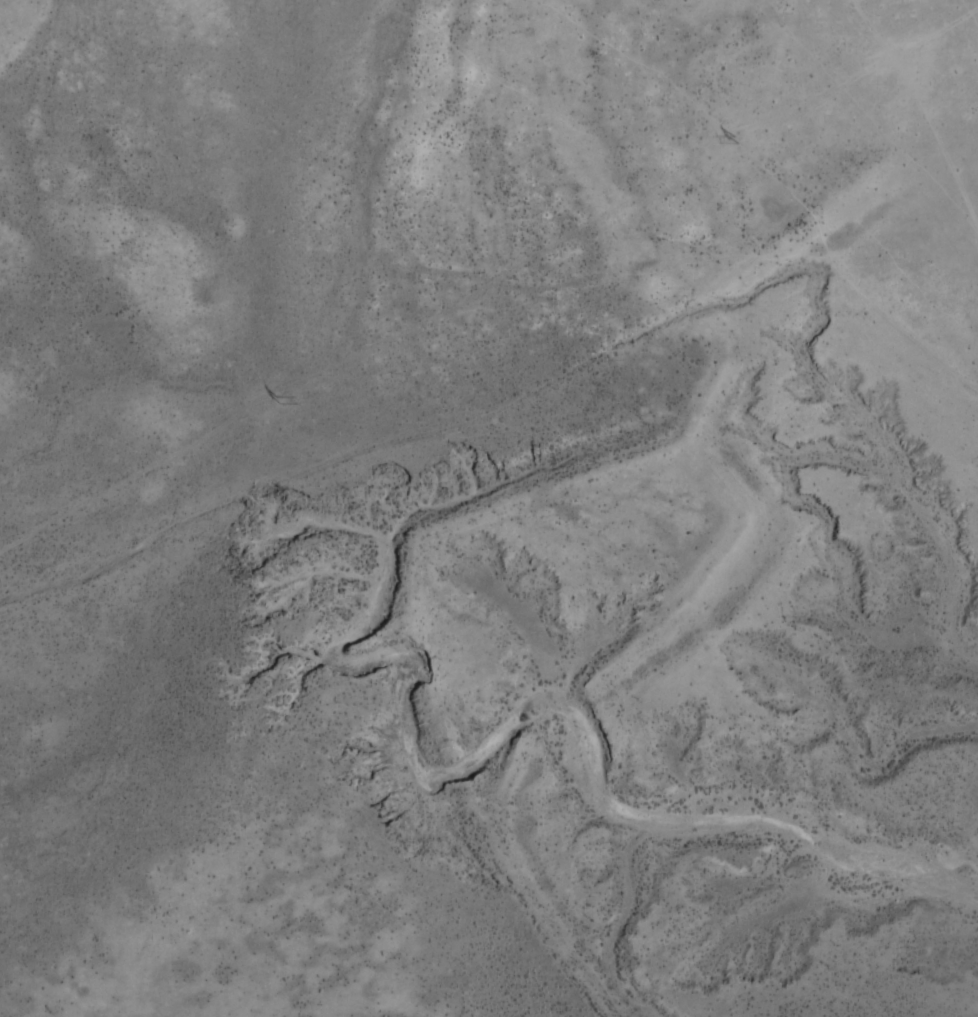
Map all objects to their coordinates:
road: (783, 246)

